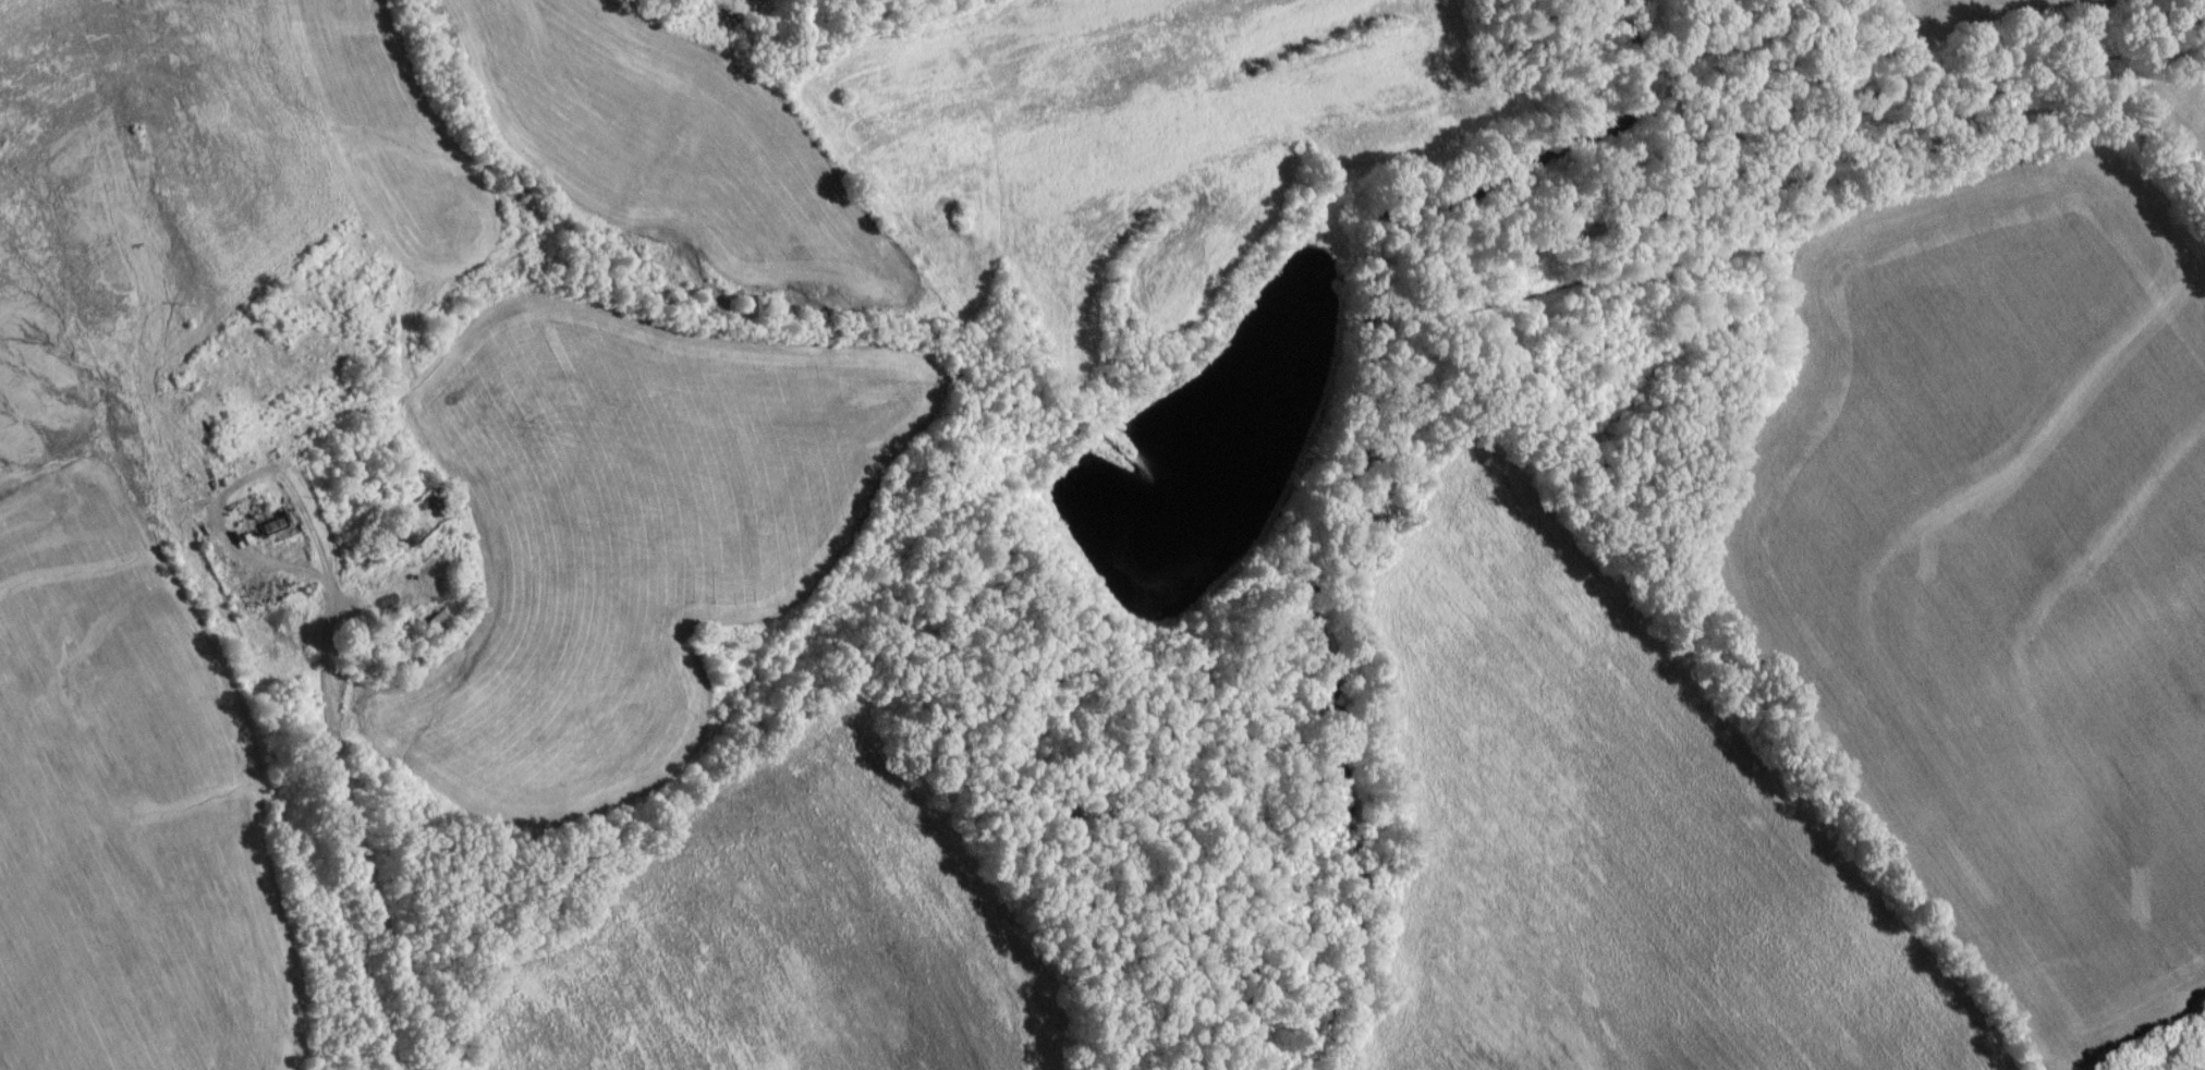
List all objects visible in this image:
building: (415, 525)
building: (266, 527)
building: (436, 632)

